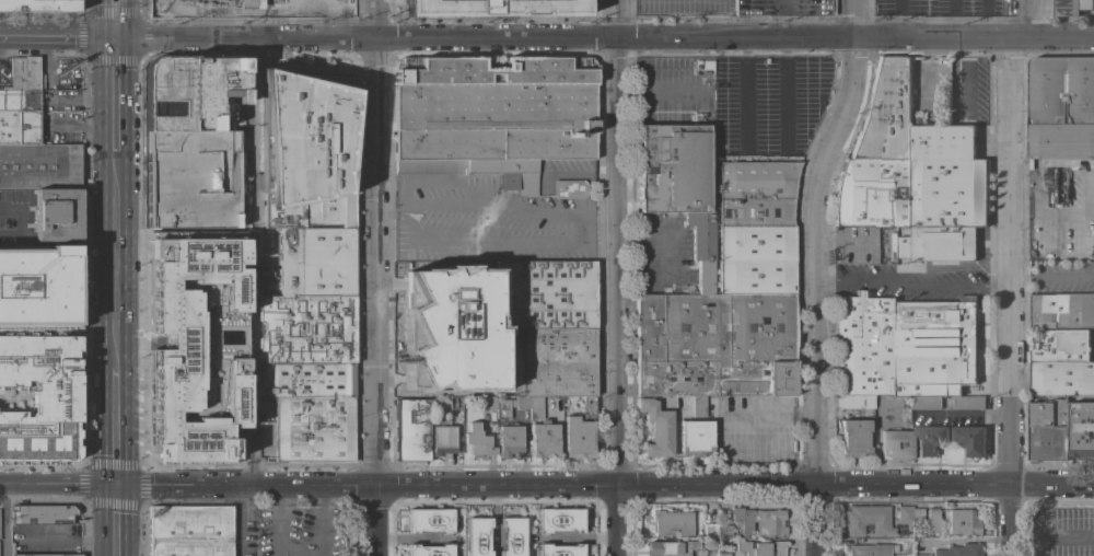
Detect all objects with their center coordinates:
building: (229, 2)
parking lot: (40, 4)
building: (251, 4)
building: (38, 5)
parking lot: (682, 5)
parking lot: (935, 5)
building: (535, 7)
building: (1057, 7)
building: (444, 8)
building: (784, 8)
parking garage: (784, 8)
road: (899, 18)
road: (953, 18)
road: (987, 18)
road: (115, 19)
road: (57, 37)
road: (604, 37)
traffic signals: (116, 38)
parking lot: (2, 71)
road: (970, 79)
road: (663, 90)
parking lot: (931, 90)
parking lot: (968, 90)
road: (743, 93)
road: (785, 94)
parking lot: (736, 99)
road: (116, 102)
building: (20, 104)
building: (1061, 109)
building: (887, 113)
building: (492, 116)
parking lot: (60, 127)
building: (302, 134)
building: (191, 142)
building: (1032, 163)
building: (39, 166)
parking lot: (561, 172)
building: (948, 177)
building: (677, 179)
building: (569, 189)
building: (756, 193)
building: (874, 193)
parking lot: (15, 216)
building: (57, 216)
road: (388, 216)
parking lot: (1061, 216)
road: (405, 217)
road: (20, 220)
parking lot: (485, 222)
road: (617, 242)
building: (940, 244)
parking lot: (857, 245)
building: (756, 260)
road: (254, 262)
building: (315, 262)
road: (116, 263)
road: (818, 275)
building: (706, 277)
parking lot: (1062, 277)
road: (373, 278)
parking lot: (909, 280)
road: (913, 282)
building: (36, 287)
parking lot: (443, 294)
building: (545, 296)
road: (1011, 296)
building: (1062, 310)
building: (306, 328)
building: (723, 338)
building: (906, 345)
building: (1062, 345)
building: (194, 349)
parking lot: (455, 362)
building: (558, 362)
building: (1062, 378)
building: (676, 379)
building: (39, 398)
building: (854, 402)
building: (927, 402)
building: (969, 402)
building: (455, 403)
building: (488, 404)
building: (698, 406)
building: (520, 407)
building: (535, 408)
building: (311, 410)
road: (773, 417)
road: (116, 421)
building: (656, 429)
building: (1049, 429)
building: (1082, 429)
building: (412, 430)
building: (580, 431)
building: (442, 438)
building: (696, 438)
building: (853, 439)
building: (930, 439)
building: (971, 439)
building: (544, 440)
building: (477, 441)
building: (510, 442)
building: (896, 445)
road: (58, 483)
traffic signals: (117, 484)
road: (369, 484)
road: (857, 484)
building: (916, 514)
building: (42, 516)
building: (904, 516)
road: (4, 519)
building: (454, 519)
road: (117, 520)
road: (238, 520)
road: (619, 520)
building: (868, 520)
building: (477, 521)
building: (503, 522)
building: (672, 522)
building: (759, 522)
building: (930, 522)
building: (961, 522)
building: (427, 523)
building: (554, 523)
building: (189, 530)
building: (709, 530)
building: (724, 531)
building: (672, 547)
building: (508, 548)
building: (761, 548)
road: (301, 549)
building: (431, 549)
building: (868, 549)
building: (958, 549)
building: (560, 551)
building: (49, 555)
building: (484, 555)
building: (723, 555)
building: (921, 555)

